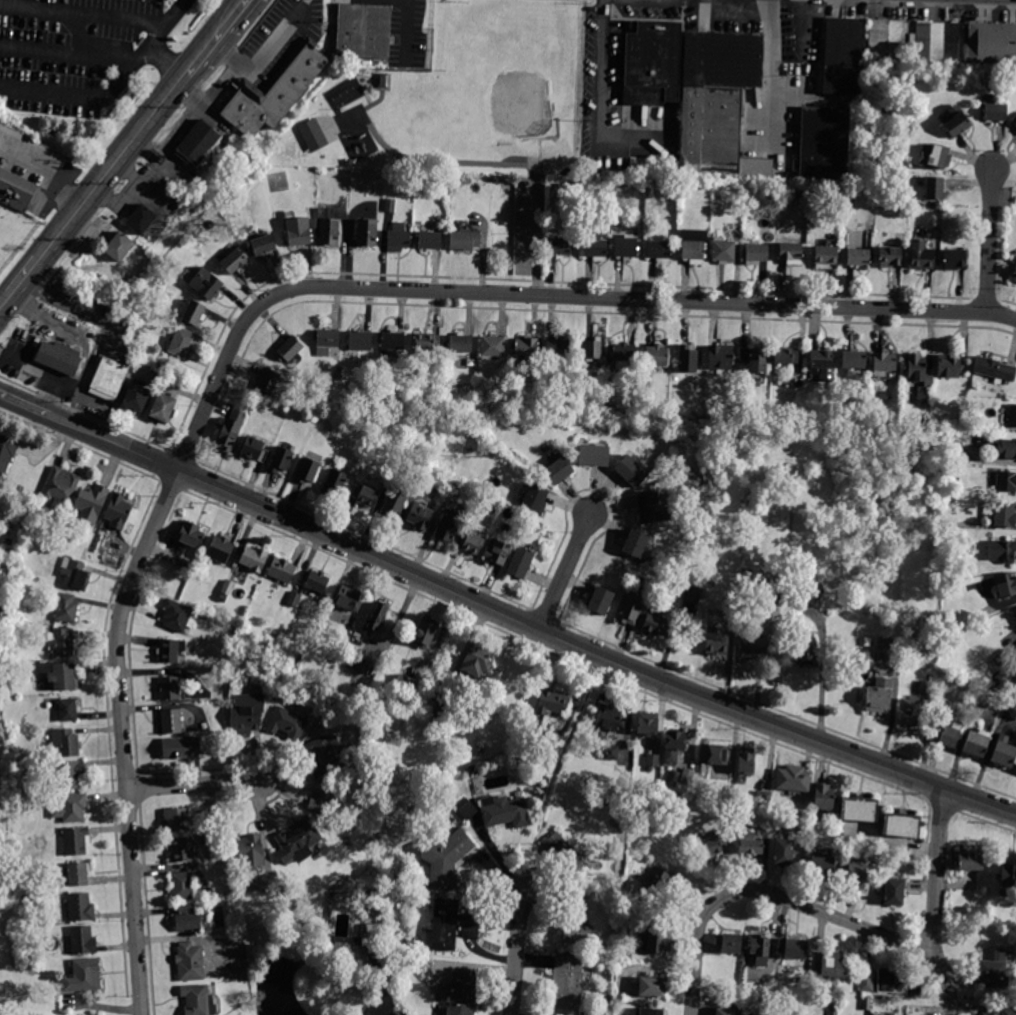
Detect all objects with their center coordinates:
road: (763, 0)
road: (85, 10)
road: (225, 29)
road: (82, 32)
building: (364, 32)
road: (654, 33)
park: (504, 36)
building: (993, 42)
building: (939, 45)
parking lot: (73, 52)
road: (69, 53)
building: (860, 53)
building: (652, 60)
road: (169, 62)
road: (194, 68)
park: (495, 72)
road: (774, 72)
building: (382, 80)
road: (114, 91)
park: (454, 93)
building: (276, 94)
road: (190, 95)
building: (893, 101)
building: (719, 104)
road: (197, 107)
building: (886, 109)
building: (996, 110)
road: (601, 115)
road: (641, 119)
road: (655, 119)
building: (955, 121)
building: (1015, 122)
building: (313, 135)
building: (198, 143)
building: (823, 144)
building: (934, 156)
road: (493, 163)
road: (113, 167)
road: (46, 168)
building: (443, 182)
building: (458, 184)
building: (934, 188)
building: (17, 189)
building: (850, 199)
building: (390, 205)
building: (140, 219)
building: (297, 232)
building: (328, 232)
building: (366, 233)
building: (398, 238)
building: (429, 240)
building: (464, 240)
road: (989, 241)
building: (263, 244)
building: (559, 245)
building: (693, 245)
building: (118, 246)
building: (595, 246)
building: (626, 247)
park: (19, 249)
building: (658, 250)
building: (722, 250)
building: (790, 253)
building: (755, 254)
building: (890, 256)
building: (921, 256)
building: (825, 257)
building: (858, 258)
building: (954, 259)
building: (233, 261)
building: (171, 265)
building: (1014, 274)
building: (206, 283)
road: (19, 284)
road: (267, 300)
building: (193, 312)
road: (103, 329)
building: (326, 341)
building: (359, 341)
building: (181, 343)
building: (391, 343)
building: (460, 343)
building: (425, 344)
building: (492, 347)
building: (288, 349)
building: (526, 349)
building: (557, 349)
building: (593, 349)
building: (623, 352)
building: (785, 355)
building: (58, 356)
building: (656, 356)
building: (720, 358)
building: (687, 359)
building: (755, 359)
building: (854, 359)
building: (885, 361)
building: (822, 364)
building: (597, 366)
building: (950, 366)
building: (995, 368)
building: (109, 374)
building: (919, 377)
building: (268, 381)
building: (136, 397)
road: (24, 403)
building: (162, 407)
building: (1013, 415)
building: (481, 420)
building: (230, 430)
building: (483, 435)
road: (81, 445)
building: (1006, 447)
building: (254, 449)
building: (6, 452)
building: (594, 455)
building: (280, 460)
building: (333, 464)
building: (558, 470)
building: (307, 471)
building: (631, 471)
building: (957, 477)
building: (334, 482)
building: (1006, 482)
building: (61, 484)
road: (173, 486)
building: (930, 492)
building: (364, 495)
building: (535, 498)
building: (952, 500)
building: (91, 503)
building: (393, 505)
building: (651, 508)
building: (118, 510)
building: (1004, 514)
building: (419, 516)
building: (448, 525)
building: (191, 535)
building: (470, 543)
building: (635, 543)
building: (220, 549)
building: (1001, 551)
building: (498, 553)
building: (254, 558)
building: (520, 562)
road: (565, 569)
building: (281, 570)
building: (74, 574)
building: (711, 581)
building: (317, 582)
building: (1006, 586)
building: (227, 587)
building: (770, 590)
building: (693, 594)
building: (223, 598)
building: (294, 599)
building: (348, 599)
building: (783, 600)
building: (600, 601)
building: (701, 604)
building: (730, 605)
building: (65, 607)
building: (630, 609)
building: (746, 611)
building: (176, 615)
building: (377, 616)
building: (1014, 616)
building: (324, 624)
road: (528, 625)
building: (656, 626)
building: (424, 634)
building: (62, 643)
building: (717, 644)
building: (752, 646)
building: (270, 647)
building: (888, 649)
building: (170, 650)
building: (805, 651)
road: (553, 653)
building: (1003, 658)
building: (477, 660)
building: (294, 661)
building: (362, 666)
building: (4, 671)
building: (59, 676)
building: (960, 682)
building: (995, 683)
building: (406, 684)
building: (169, 688)
building: (879, 696)
building: (552, 702)
flagpole: (853, 704)
building: (443, 707)
building: (68, 710)
building: (247, 711)
building: (911, 711)
building: (609, 717)
building: (171, 721)
building: (287, 723)
building: (647, 724)
building: (947, 733)
building: (66, 742)
building: (674, 744)
building: (975, 744)
building: (179, 747)
building: (1004, 751)
building: (610, 752)
building: (322, 753)
building: (714, 754)
building: (652, 760)
building: (746, 761)
building: (71, 774)
building: (673, 778)
building: (793, 779)
road: (552, 781)
road: (195, 784)
building: (323, 796)
building: (763, 797)
building: (823, 797)
building: (607, 804)
road: (943, 806)
building: (71, 808)
building: (859, 809)
building: (469, 810)
building: (646, 812)
building: (506, 813)
building: (177, 819)
building: (901, 825)
building: (335, 826)
building: (729, 828)
building: (75, 841)
building: (298, 841)
building: (748, 843)
building: (5, 845)
road: (889, 845)
building: (711, 846)
building: (181, 849)
building: (251, 850)
building: (783, 852)
building: (566, 854)
building: (447, 858)
building: (970, 861)
building: (822, 862)
building: (78, 874)
building: (860, 875)
building: (1008, 878)
building: (659, 882)
building: (181, 886)
building: (894, 892)
road: (768, 894)
building: (375, 895)
building: (27, 899)
road: (934, 904)
building: (78, 908)
building: (630, 910)
building: (187, 919)
building: (575, 920)
building: (451, 924)
building: (373, 939)
building: (82, 940)
building: (658, 942)
building: (730, 943)
building: (793, 948)
building: (759, 950)
road: (515, 955)
building: (189, 962)
building: (831, 968)
building: (994, 970)
building: (81, 976)
building: (866, 981)
building: (567, 982)
building: (896, 982)
building: (652, 987)
building: (459, 992)
road: (382, 994)
building: (199, 999)
building: (866, 1003)
building: (800, 1009)
building: (833, 1010)
building: (1001, 1011)
building: (651, 1012)
building: (724, 1012)
building: (748, 1014)
building: (789, 1014)

